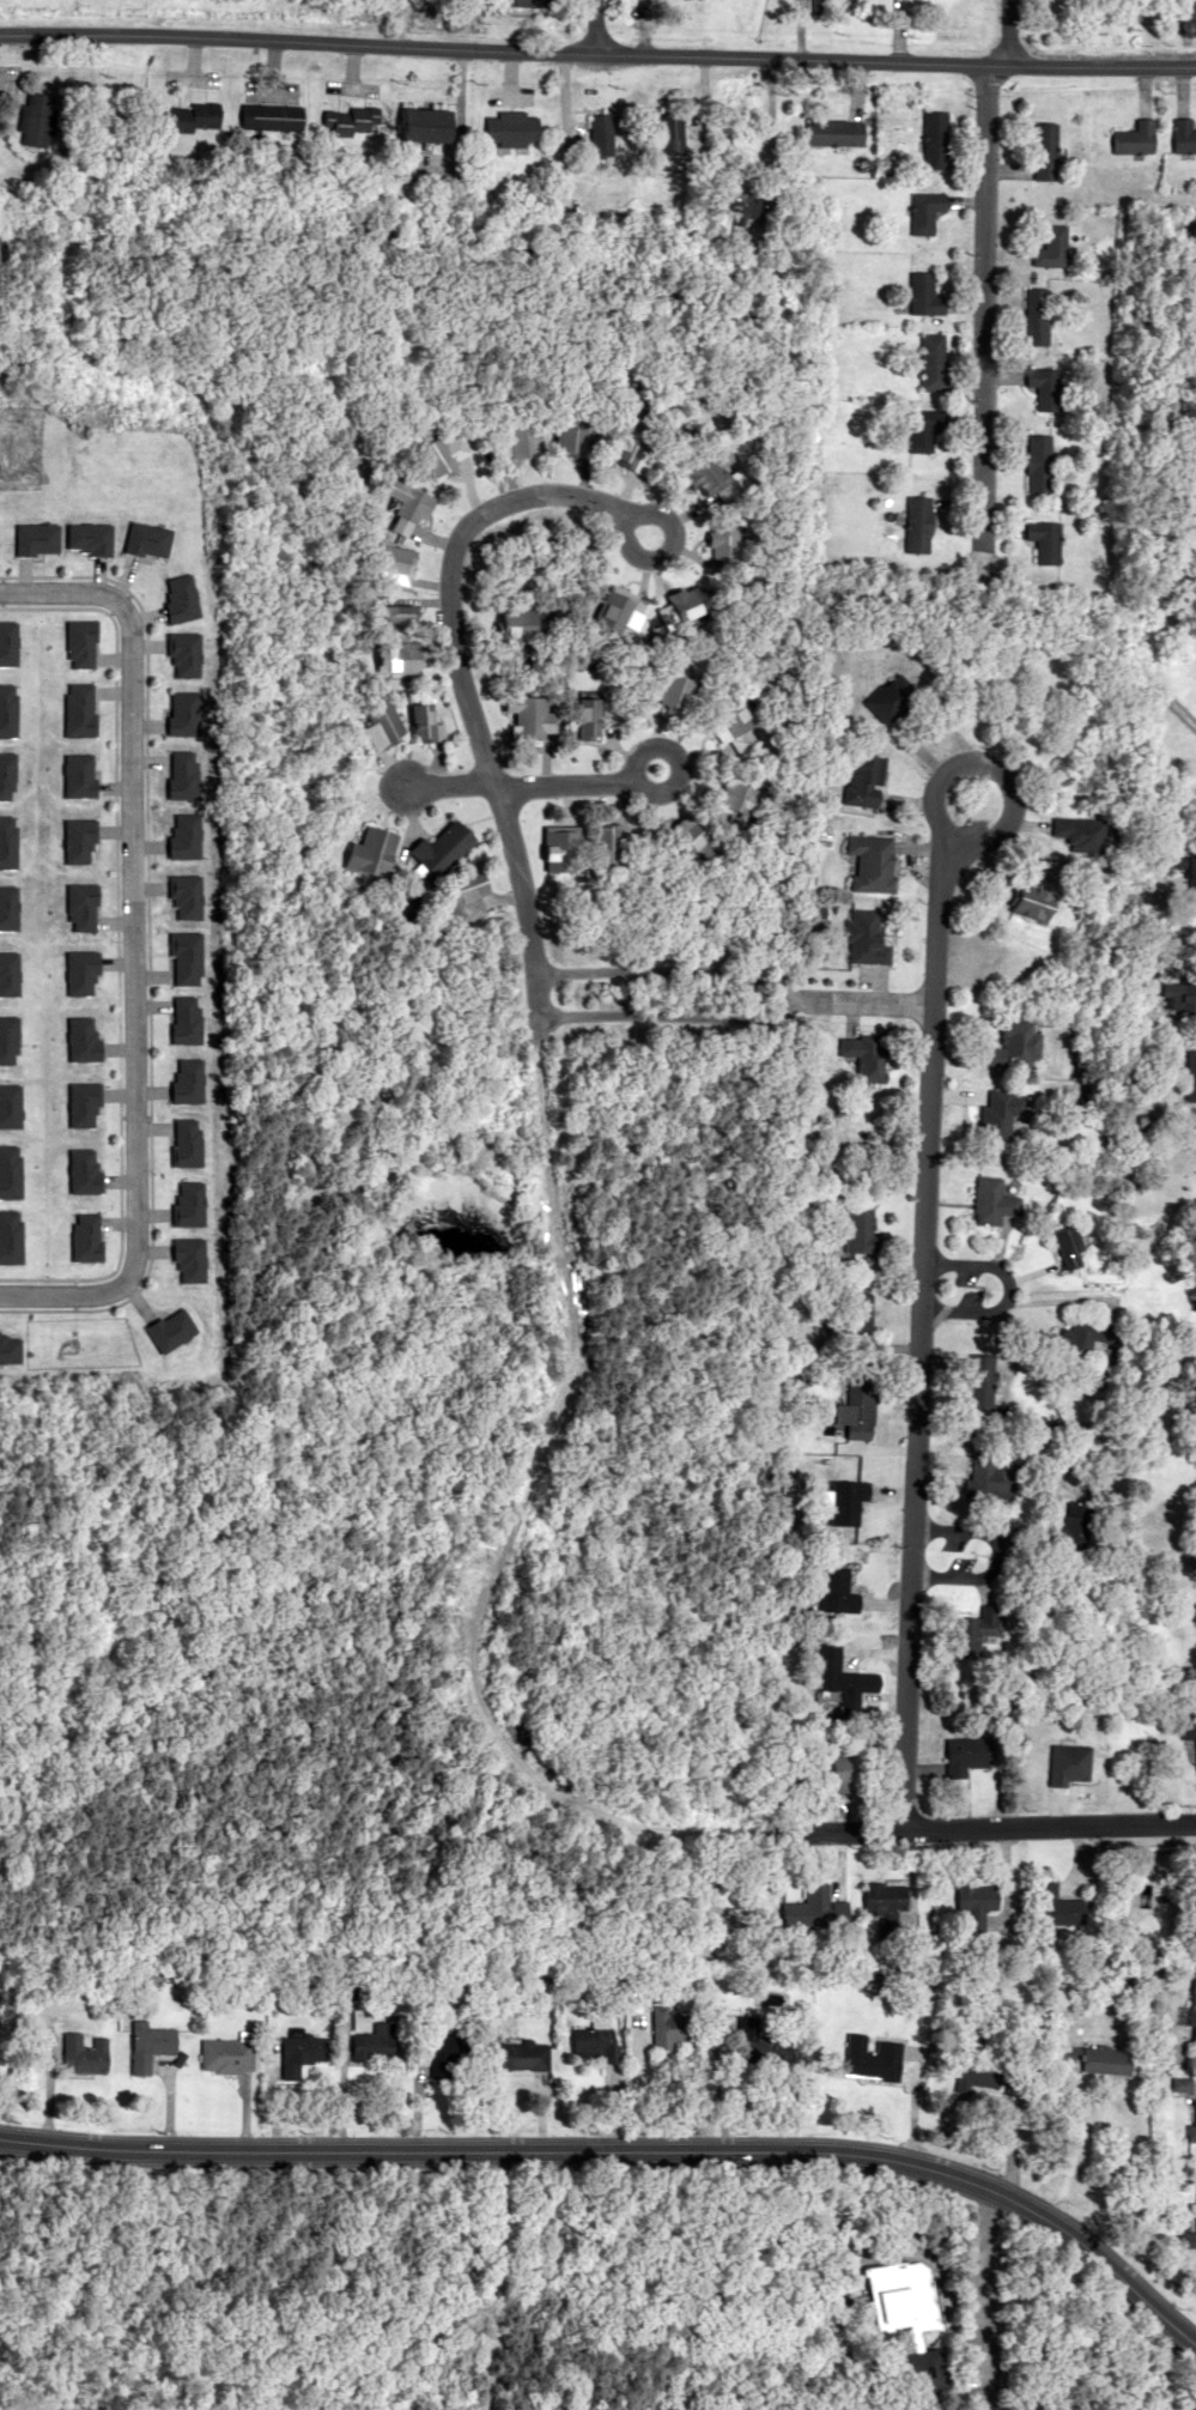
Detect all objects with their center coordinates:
building: (532, 4)
building: (819, 7)
road: (593, 26)
road: (1004, 32)
road: (597, 54)
building: (190, 117)
building: (272, 117)
building: (36, 119)
building: (350, 121)
building: (426, 125)
building: (511, 128)
building: (672, 132)
building: (834, 133)
building: (600, 134)
building: (1183, 137)
building: (1134, 138)
building: (935, 139)
building: (1044, 151)
building: (925, 211)
building: (1049, 247)
building: (924, 295)
road: (982, 307)
building: (1033, 315)
building: (933, 362)
building: (1043, 387)
building: (924, 428)
building: (1038, 462)
building: (919, 523)
building: (1045, 541)
road: (668, 547)
building: (892, 697)
building: (424, 722)
building: (383, 727)
road: (991, 768)
building: (867, 781)
road: (520, 786)
road: (661, 789)
building: (741, 797)
building: (1082, 834)
building: (444, 847)
building: (608, 848)
building: (375, 852)
building: (874, 862)
building: (1188, 868)
road: (516, 873)
building: (1037, 902)
building: (867, 939)
road: (670, 967)
building: (1020, 1044)
building: (864, 1058)
building: (1192, 1076)
building: (1000, 1113)
building: (990, 1201)
building: (854, 1231)
building: (1068, 1247)
road: (1003, 1290)
building: (854, 1313)
road: (916, 1333)
building: (1082, 1336)
building: (979, 1369)
building: (856, 1411)
building: (989, 1478)
building: (839, 1503)
building: (1070, 1522)
road: (991, 1554)
building: (837, 1591)
building: (1192, 1612)
building: (966, 1635)
building: (840, 1677)
building: (1189, 1727)
building: (966, 1756)
building: (844, 1773)
road: (953, 1828)
building: (972, 1896)
building: (884, 1901)
building: (1048, 1905)
building: (809, 1907)
building: (1192, 2003)
building: (668, 2028)
building: (749, 2036)
building: (374, 2042)
building: (147, 2046)
building: (593, 2049)
building: (83, 2051)
building: (299, 2051)
building: (224, 2054)
building: (449, 2055)
building: (516, 2055)
building: (869, 2059)
building: (1093, 2059)
building: (1004, 2072)
building: (1179, 2084)
building: (1191, 2120)
road: (625, 2132)
road: (627, 2151)
building: (1186, 2239)
building: (904, 2305)

